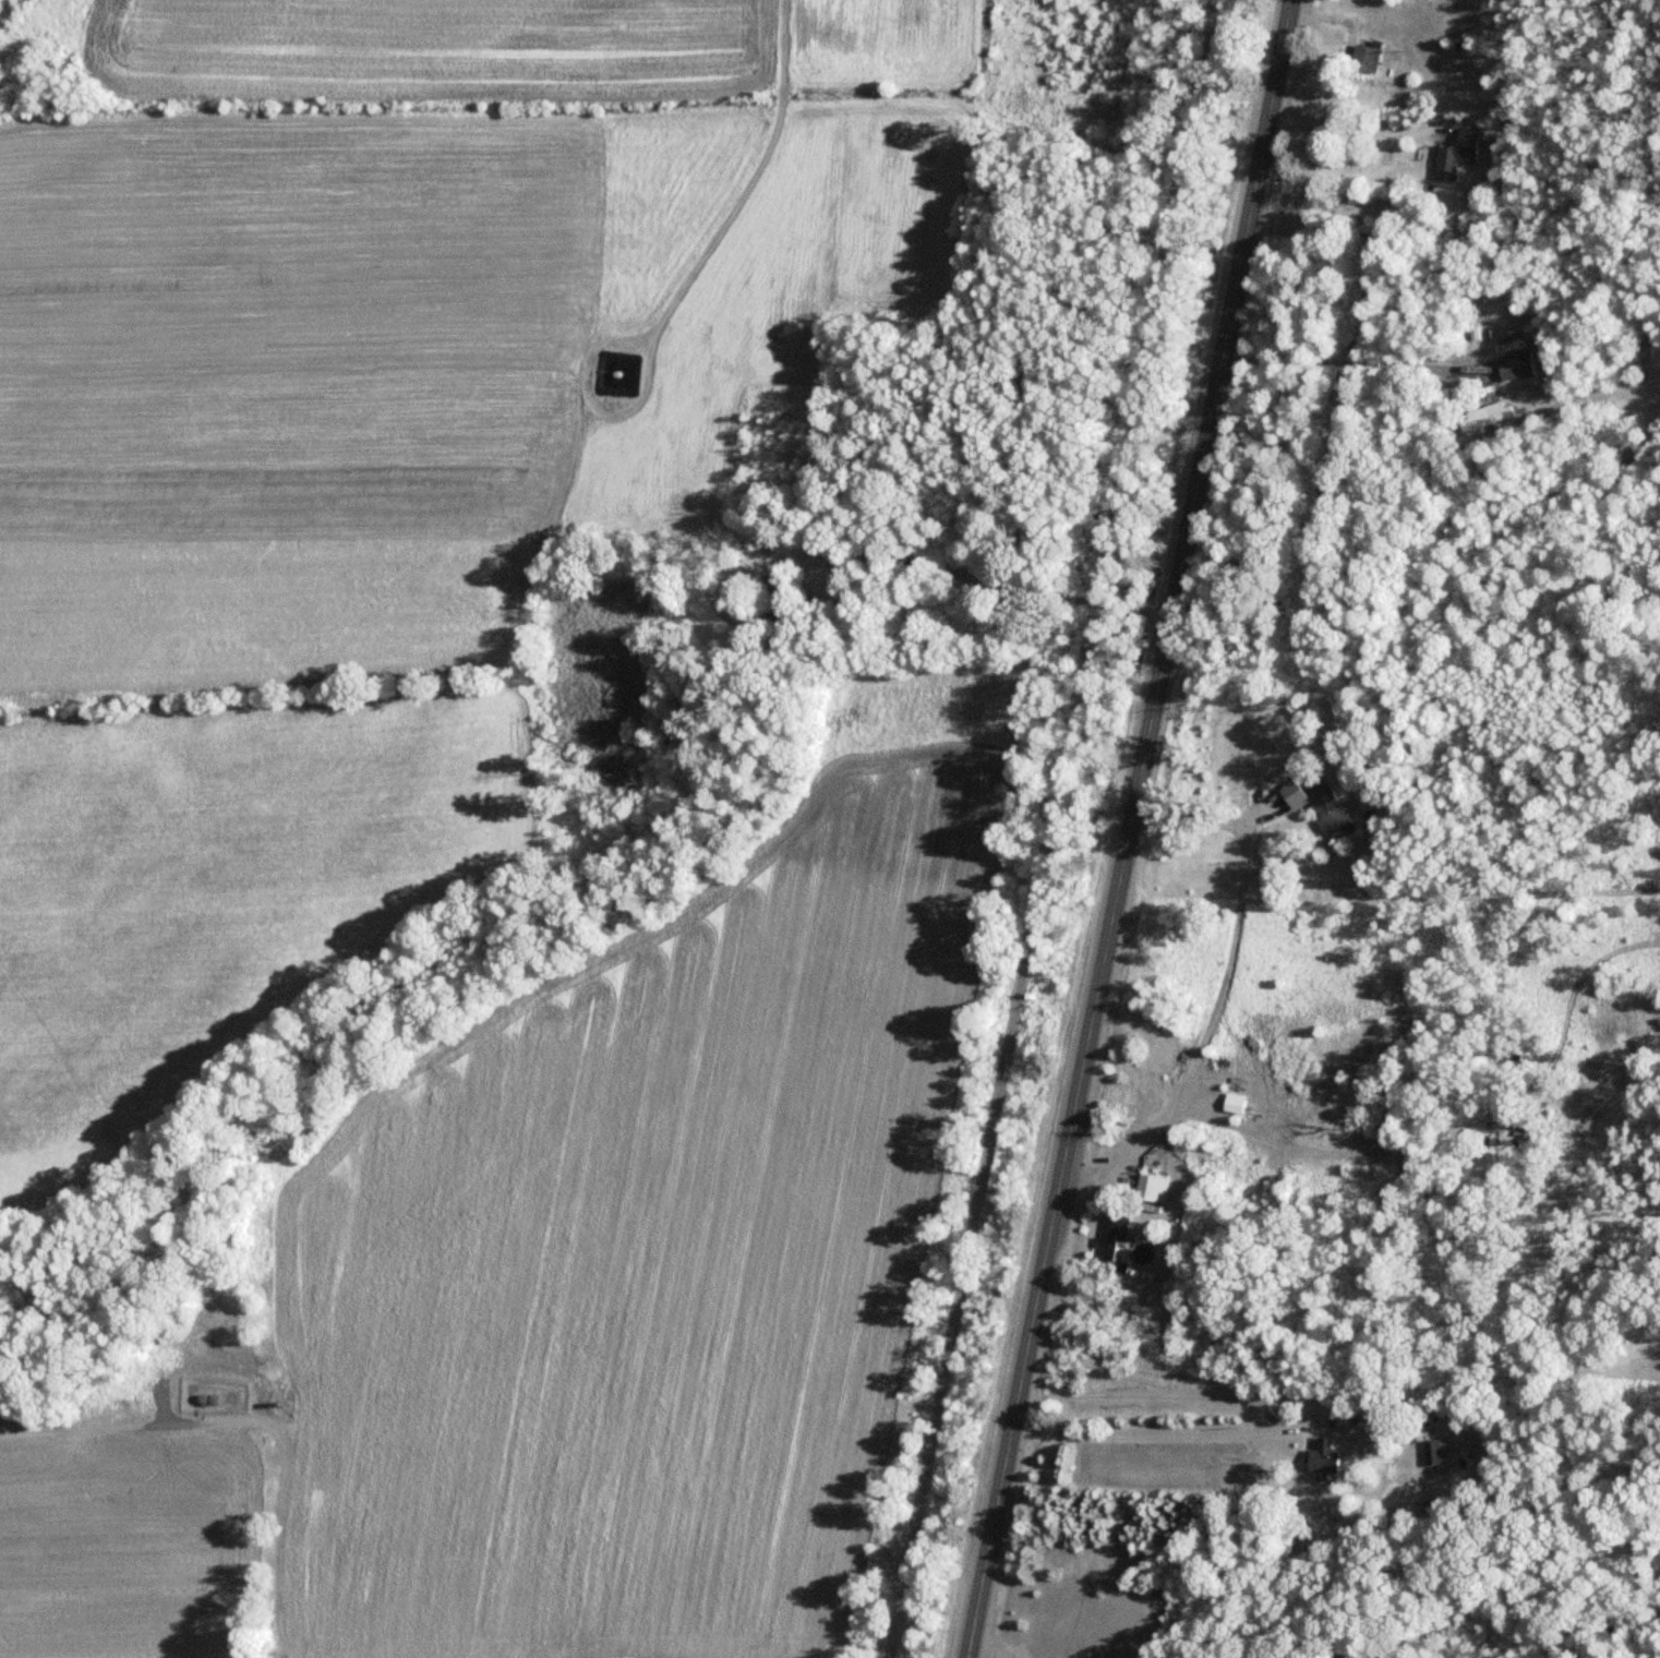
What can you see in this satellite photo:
building: (1361, 60)
road: (1358, 111)
building: (1454, 154)
road: (750, 193)
building: (1513, 364)
road: (1344, 365)
building: (1487, 417)
road: (993, 581)
building: (1323, 805)
road: (1045, 828)
road: (1123, 829)
road: (1217, 992)
building: (1148, 1189)
building: (1111, 1230)
road: (1362, 1392)
road: (1294, 1416)
road: (253, 1429)
road: (1270, 1441)
building: (1432, 1451)
building: (1320, 1456)
road: (978, 1644)

